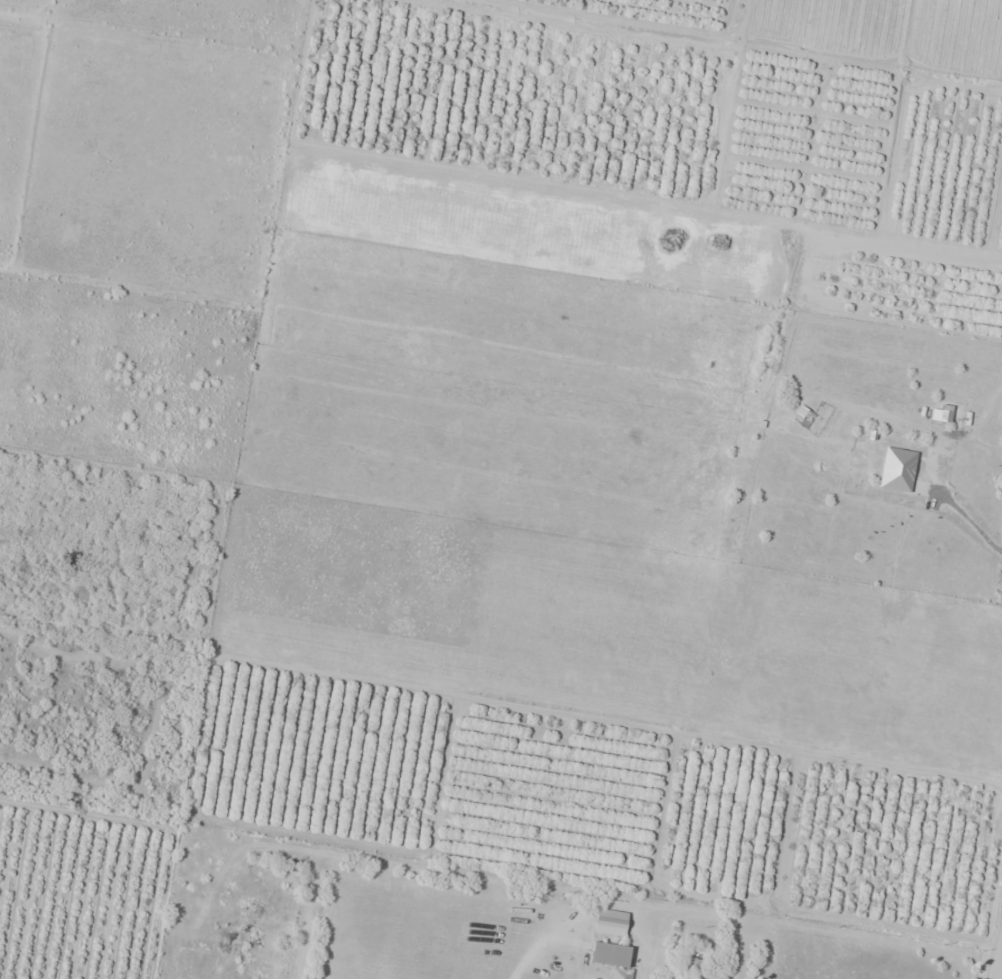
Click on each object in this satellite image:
road: (996, 944)
building: (613, 954)

